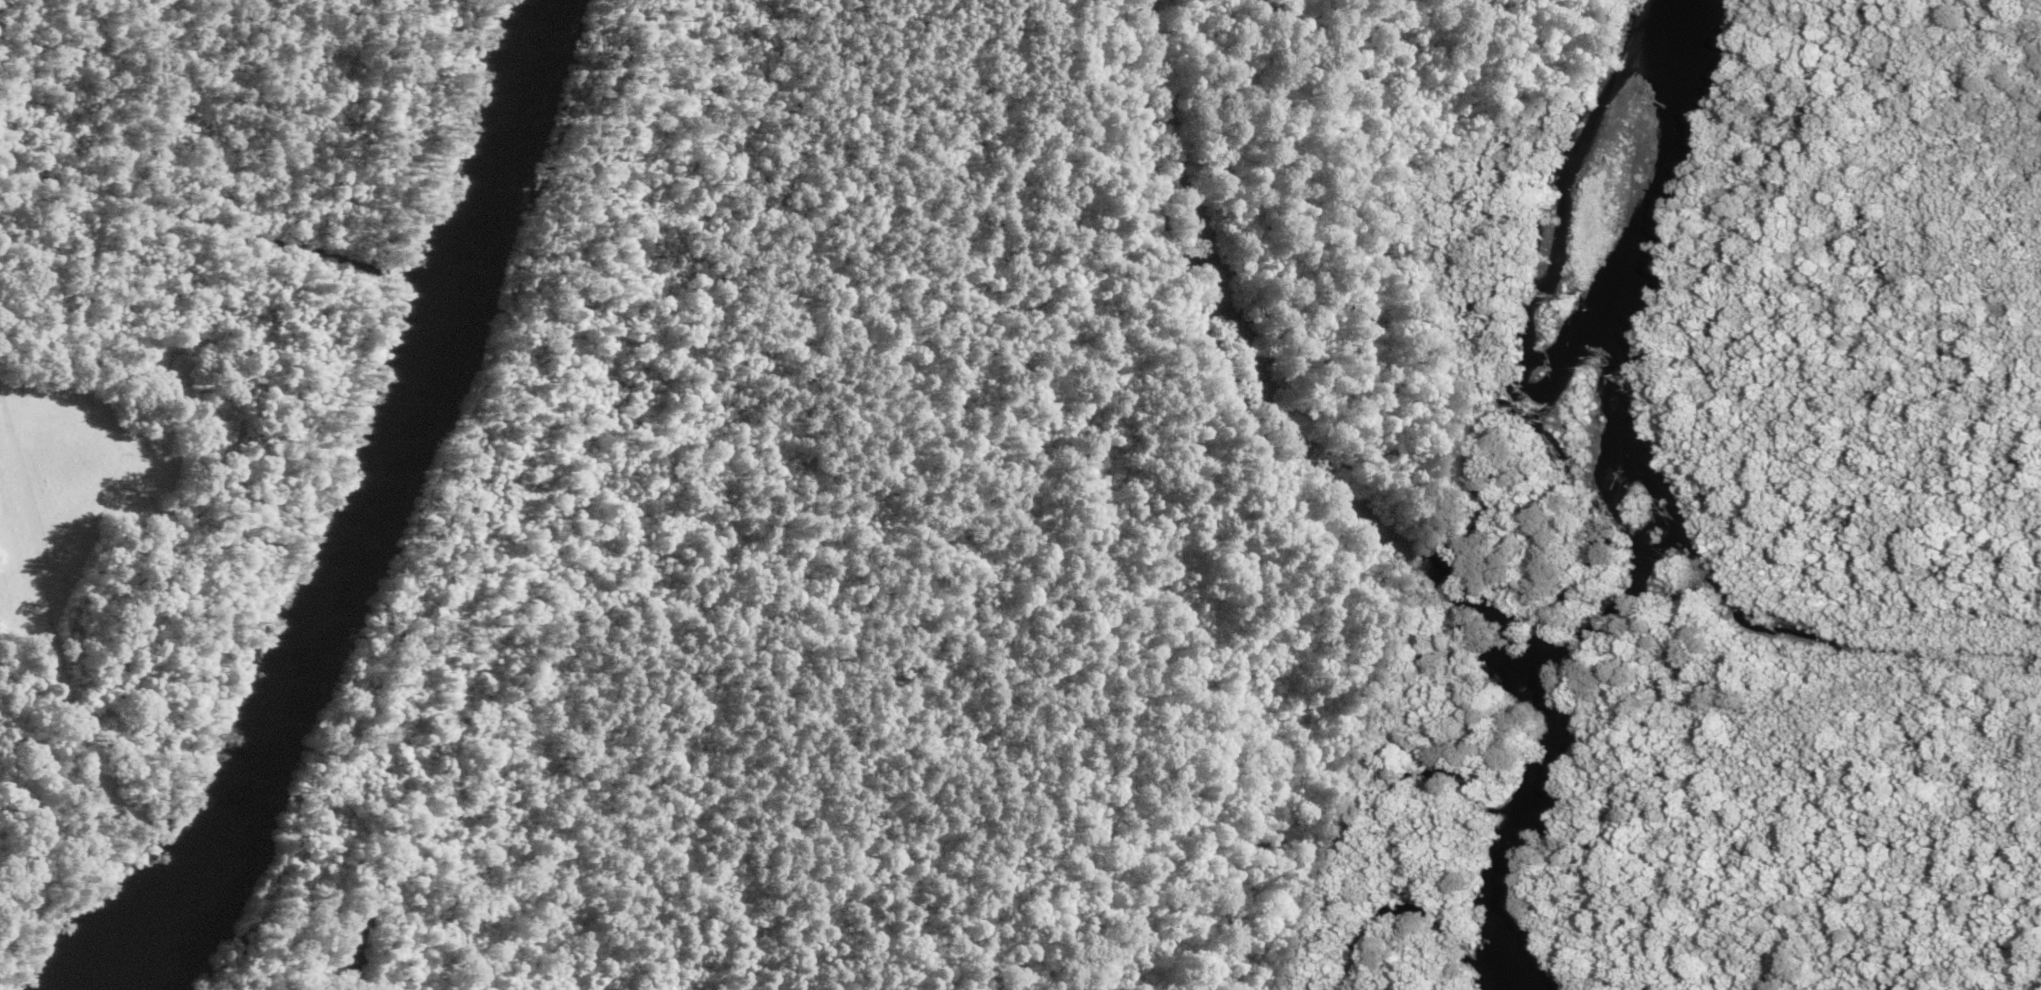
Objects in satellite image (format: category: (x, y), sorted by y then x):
park: (170, 381)

